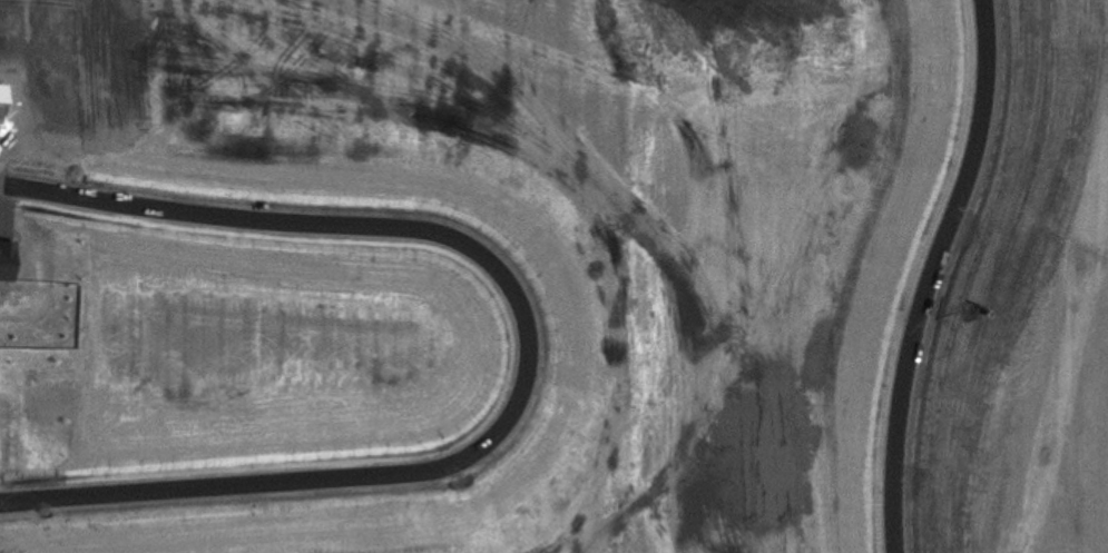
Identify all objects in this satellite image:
road: (930, 274)
road: (527, 349)

